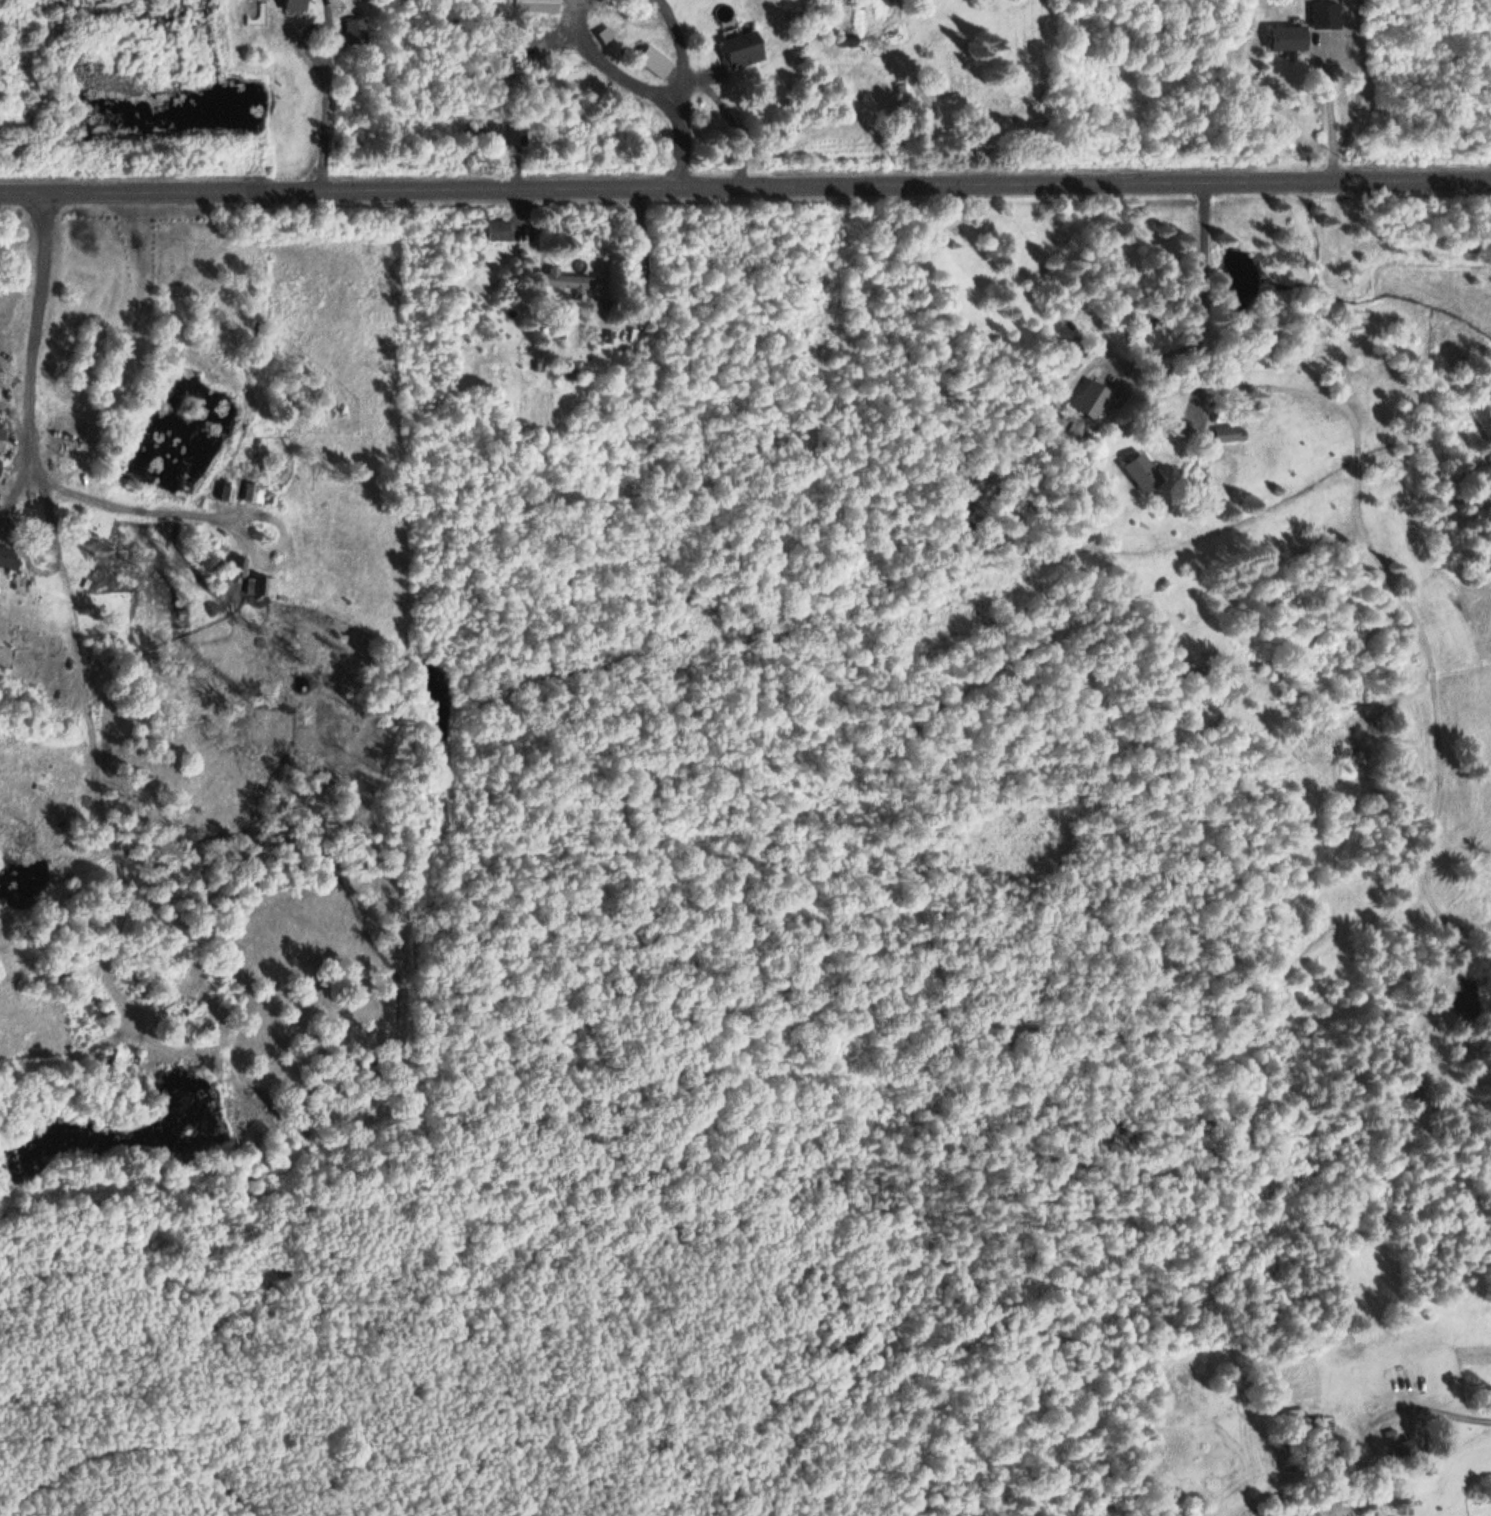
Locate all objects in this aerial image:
building: (534, 0)
building: (293, 5)
building: (1321, 13)
building: (355, 30)
building: (1286, 37)
building: (739, 46)
building: (653, 61)
road: (1264, 86)
building: (477, 130)
building: (516, 133)
road: (745, 181)
building: (496, 229)
building: (565, 279)
building: (1090, 399)
building: (1227, 433)
building: (1, 437)
building: (0, 459)
building: (1140, 472)
building: (254, 492)
building: (6, 557)
building: (265, 585)
building: (5, 653)
road: (1450, 1414)
building: (1395, 1432)
building: (1402, 1449)

